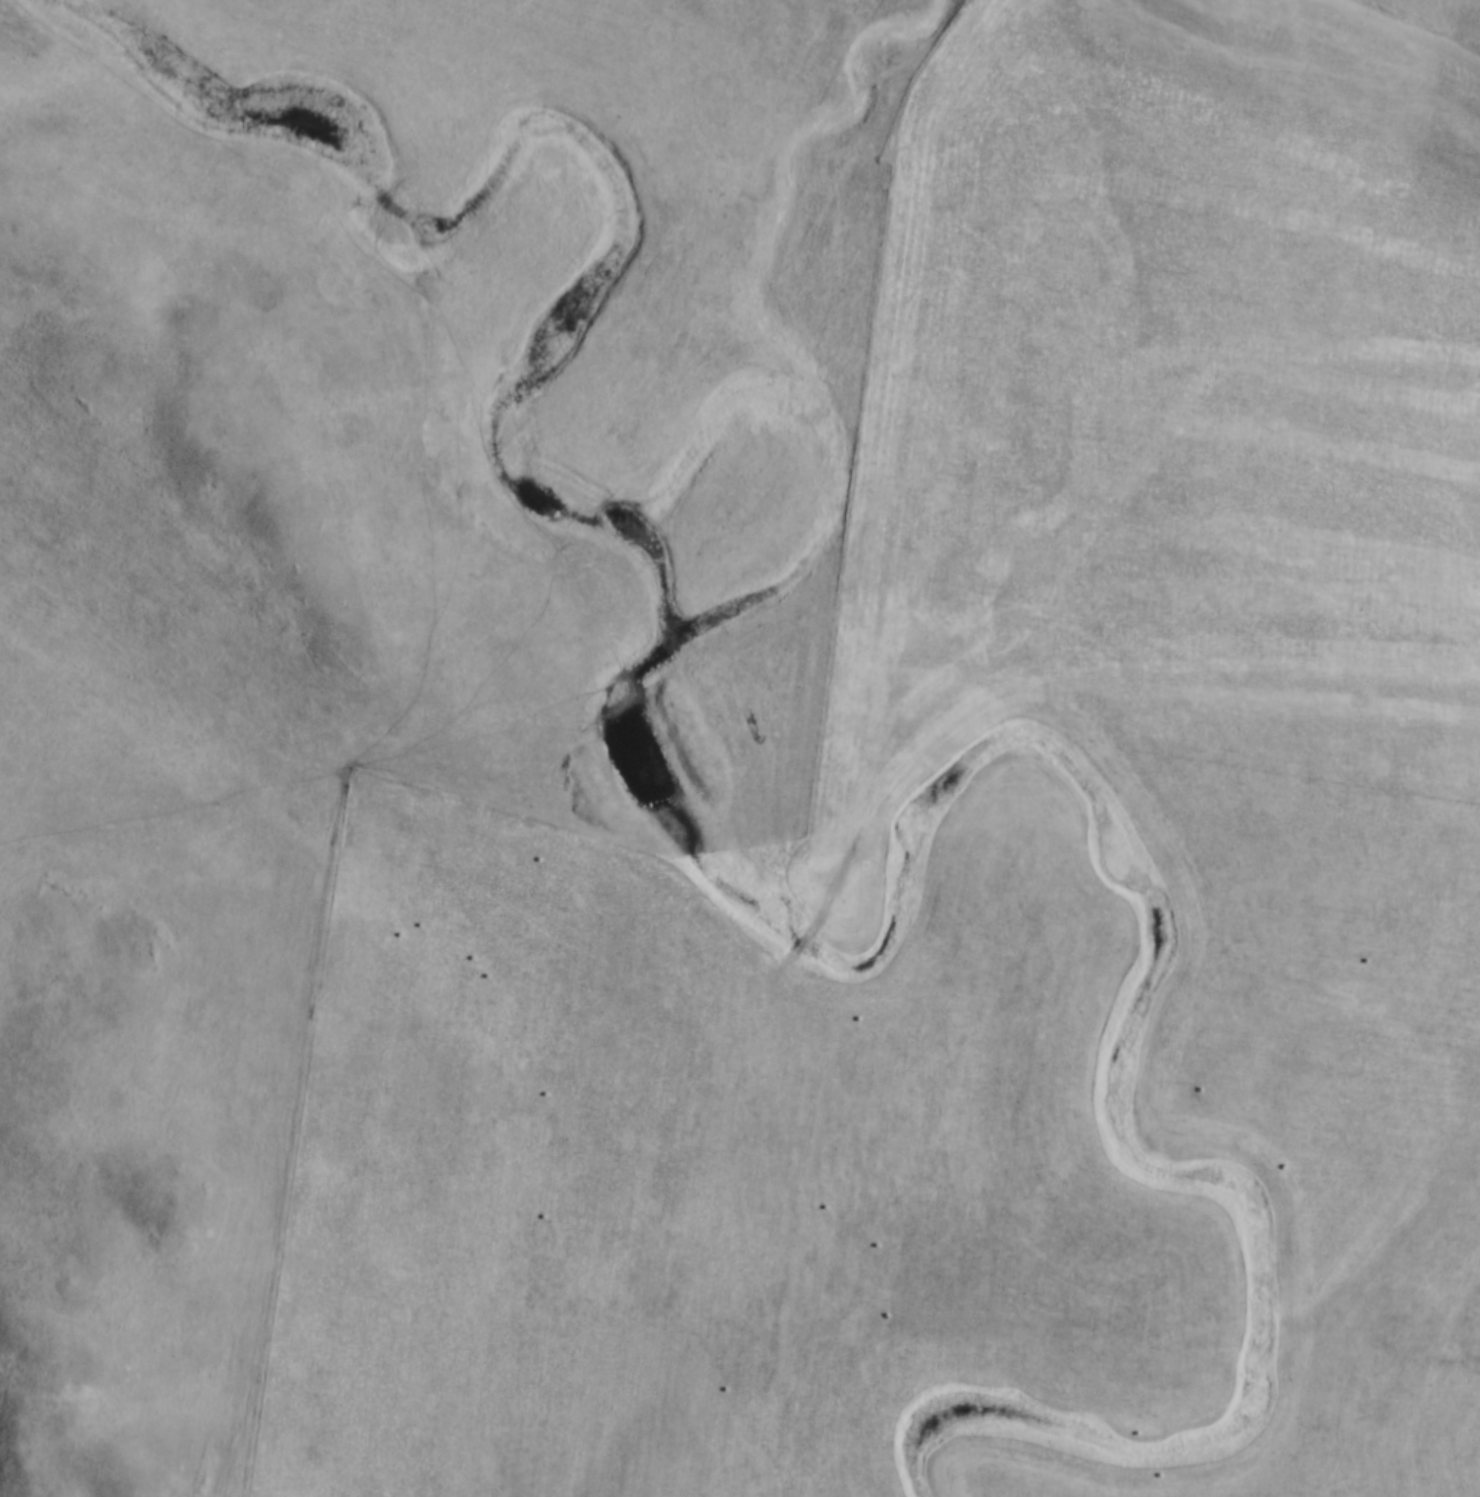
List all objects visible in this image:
road: (743, 1260)

